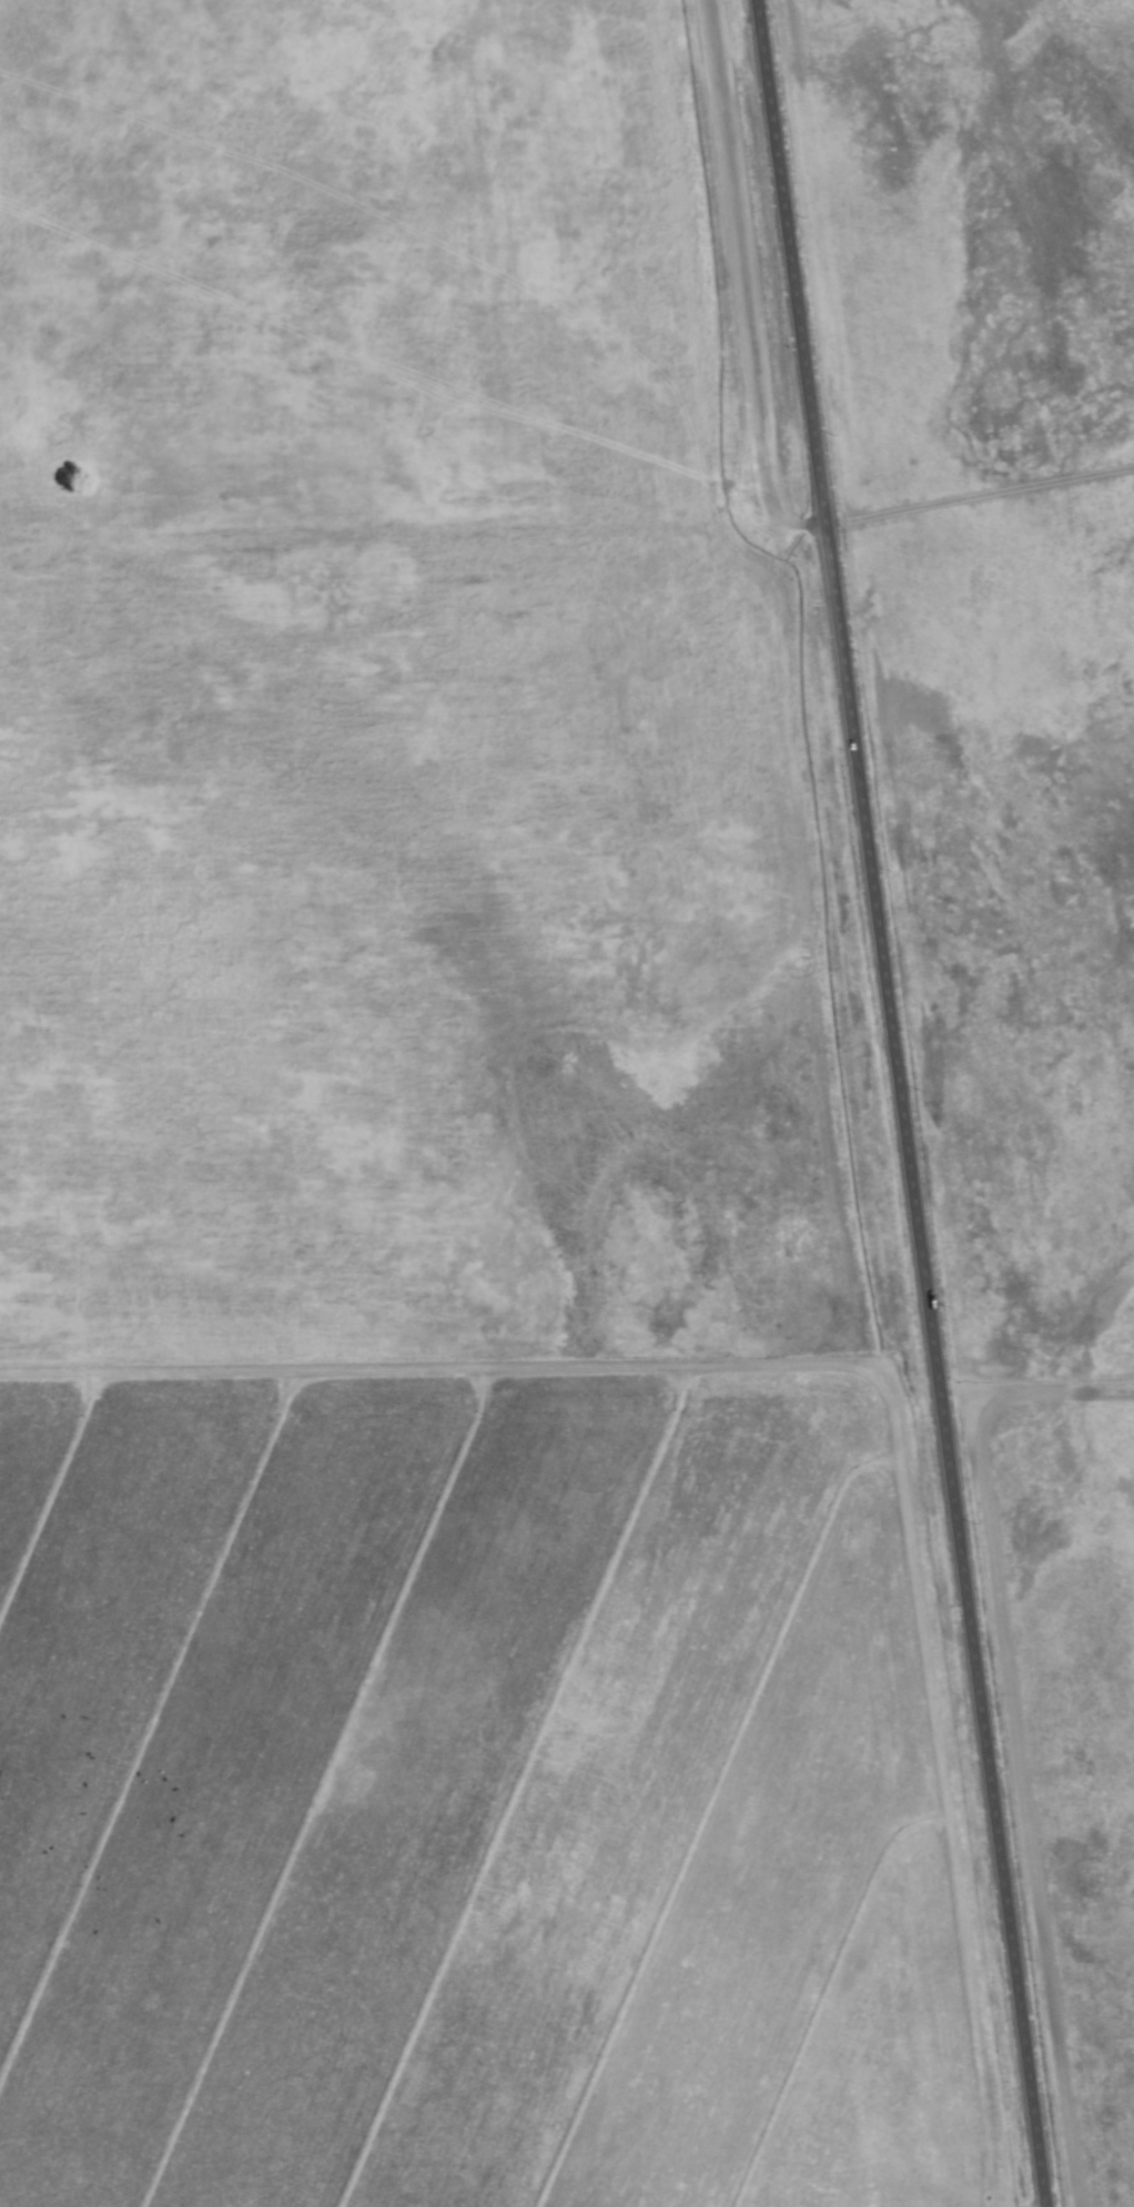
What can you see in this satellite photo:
road: (737, 282)
road: (899, 1103)

